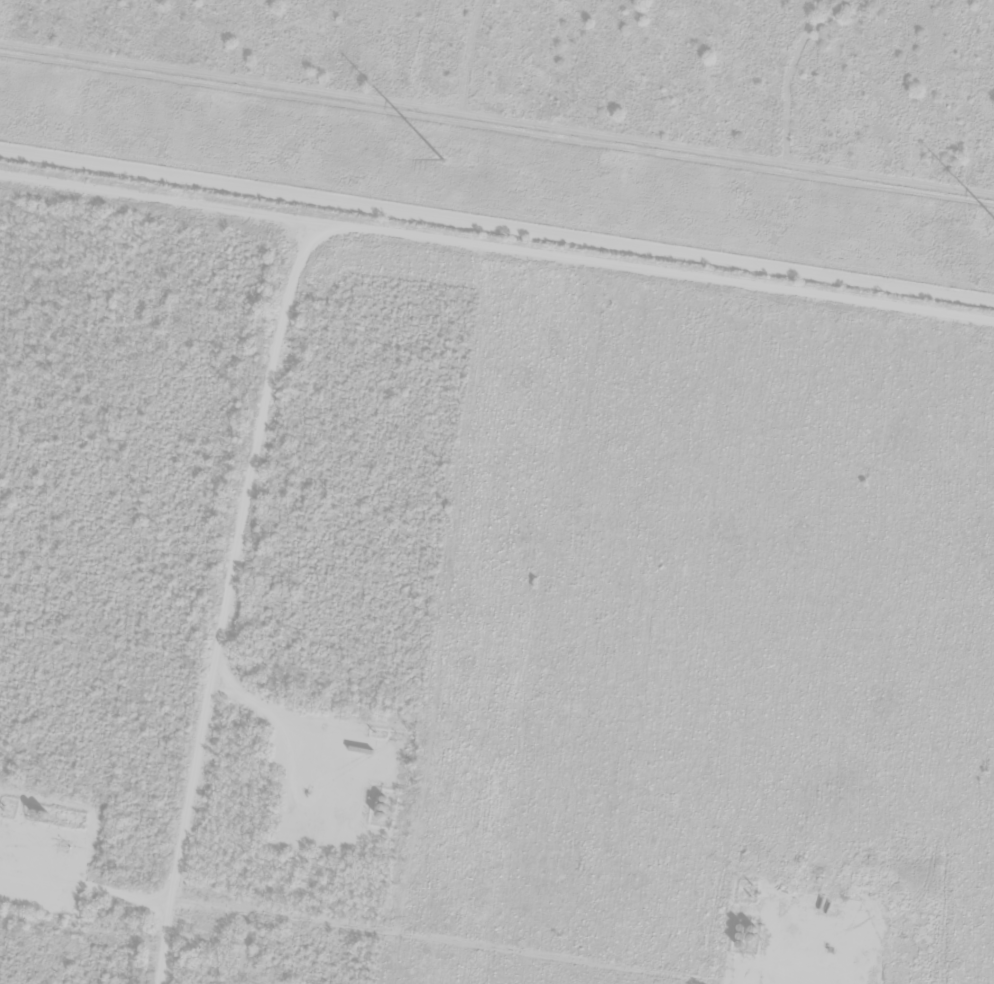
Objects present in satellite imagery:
power tower: (441, 159)
road: (495, 252)
road: (160, 597)

